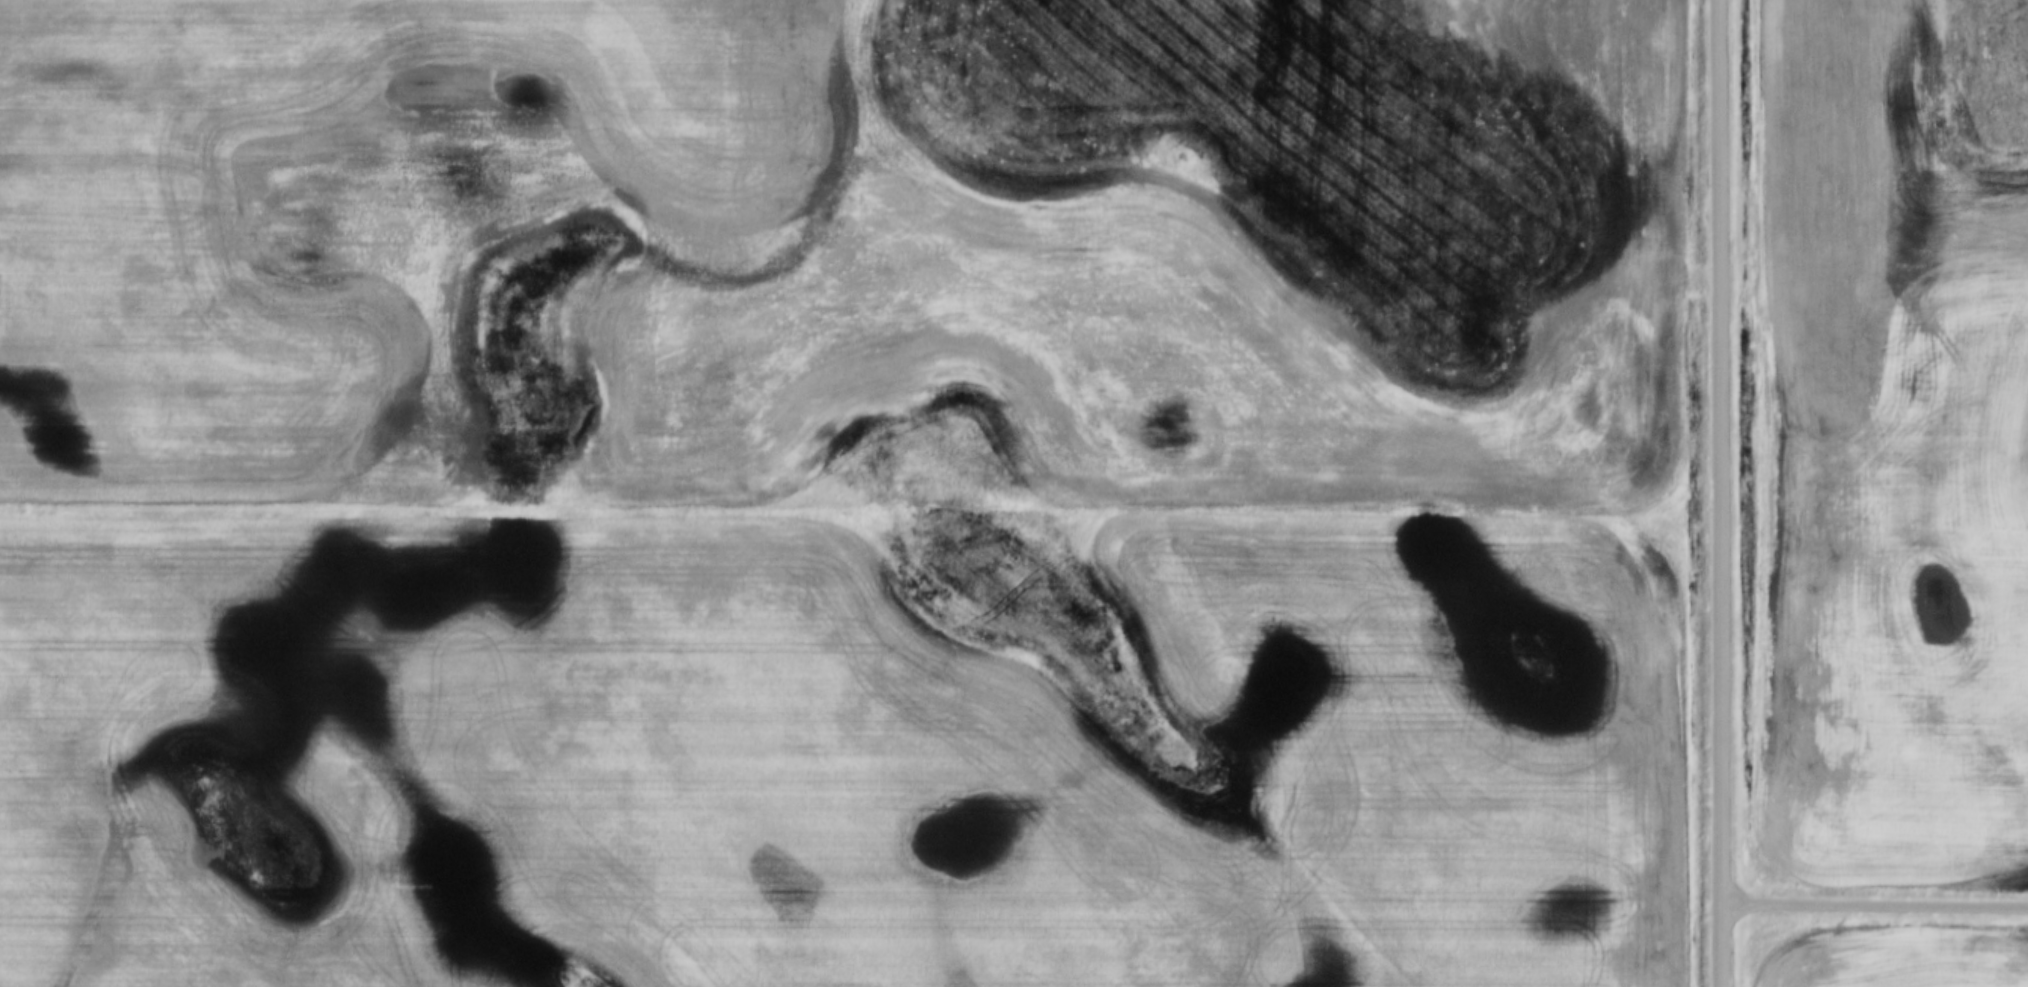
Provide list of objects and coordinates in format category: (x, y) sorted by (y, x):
road: (1717, 493)
road: (1873, 907)

